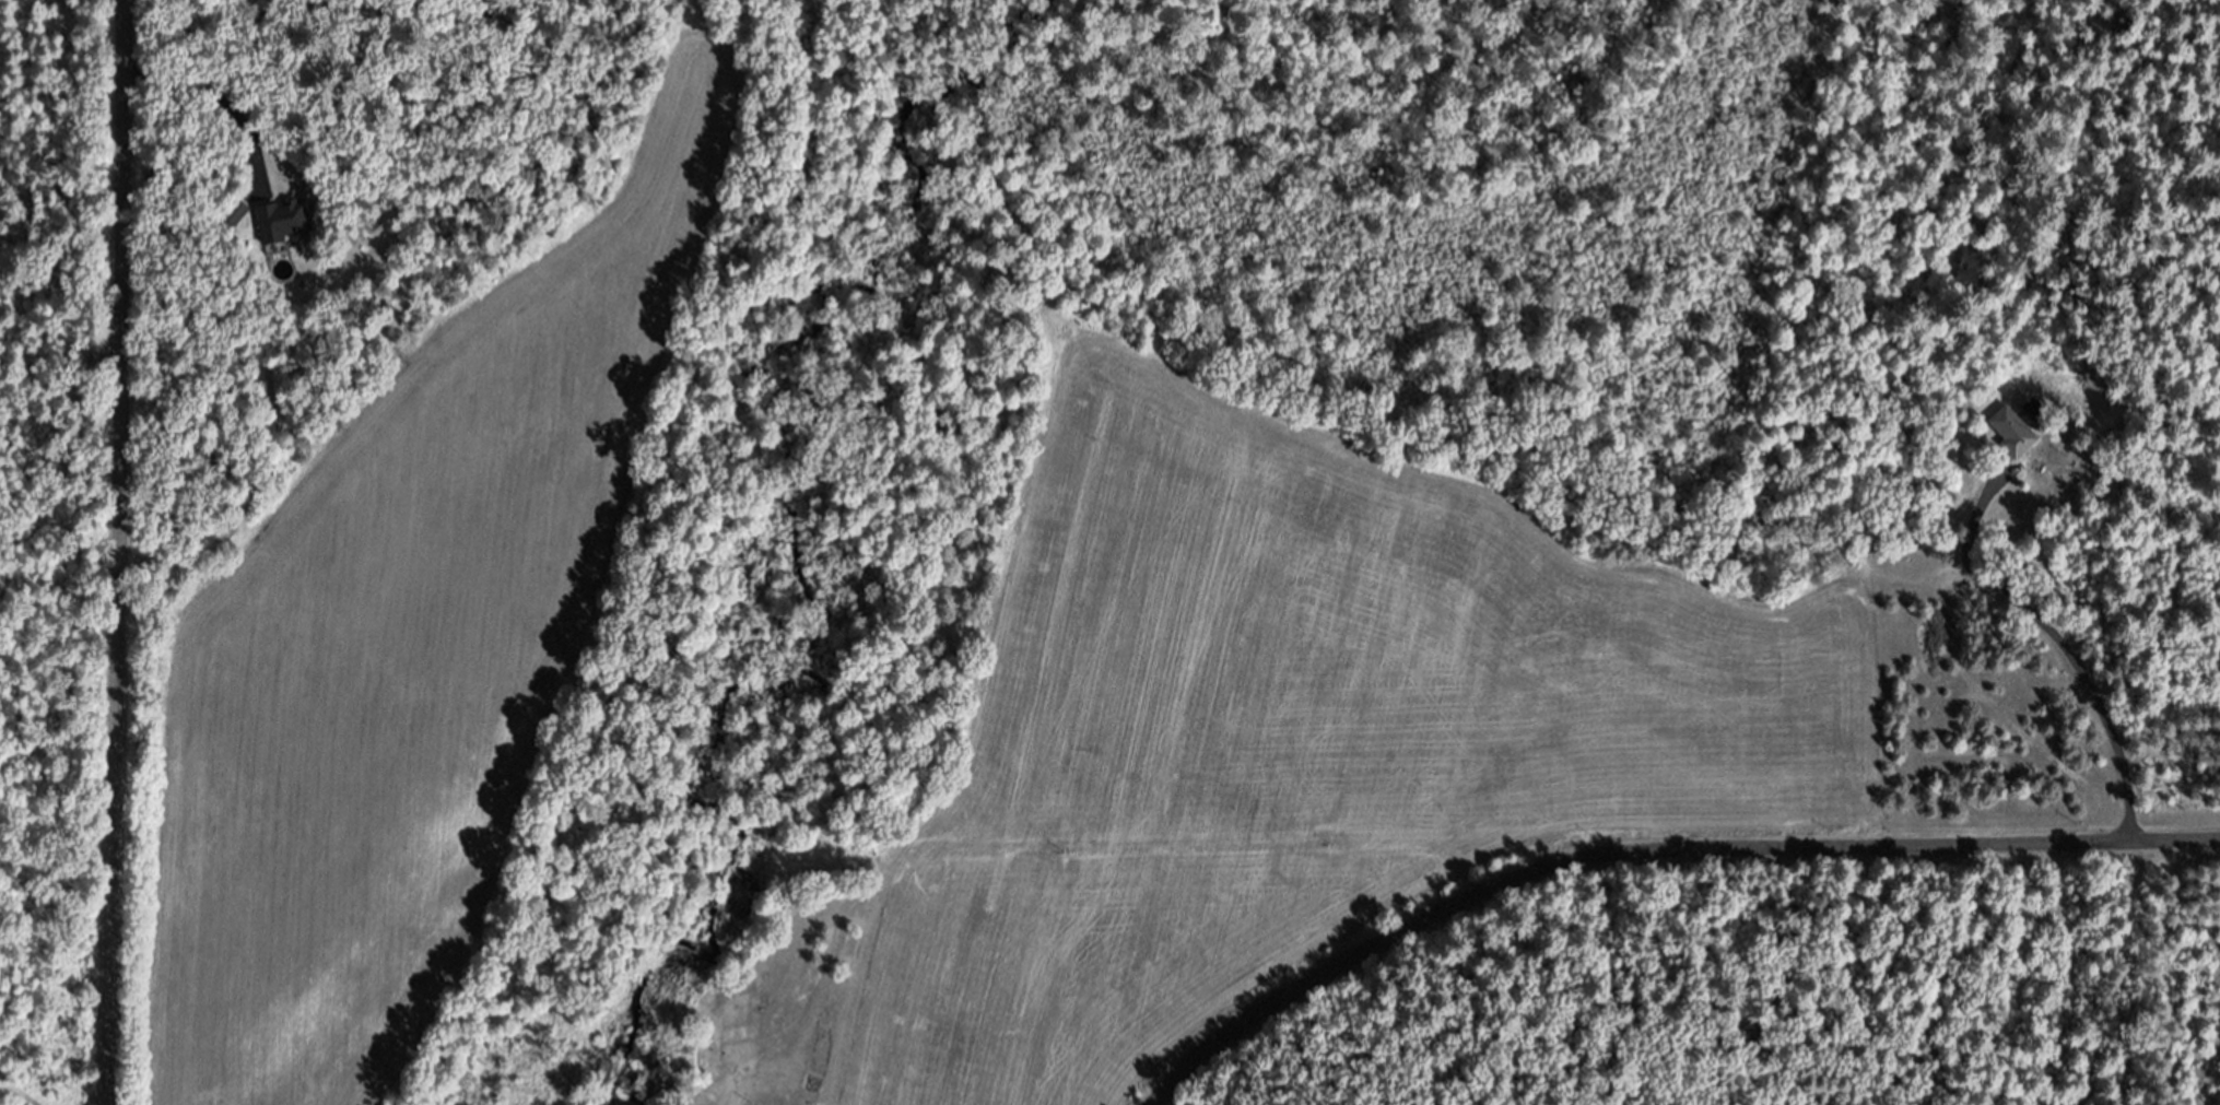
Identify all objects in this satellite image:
building: (239, 220)
building: (286, 226)
building: (2017, 438)
road: (120, 552)
road: (2054, 635)
road: (1652, 849)
building: (823, 1061)

